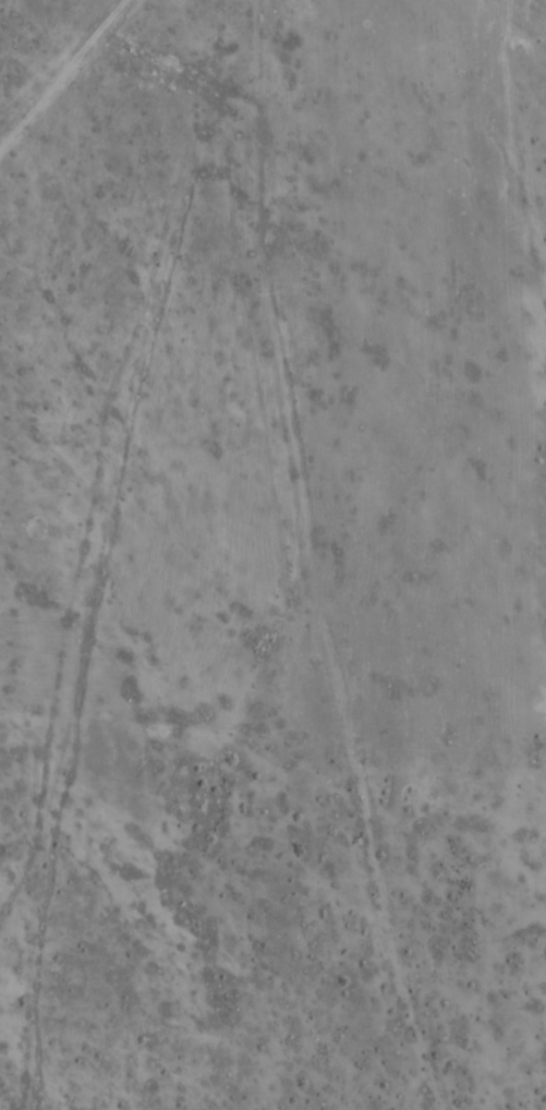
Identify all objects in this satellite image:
road: (75, 84)

